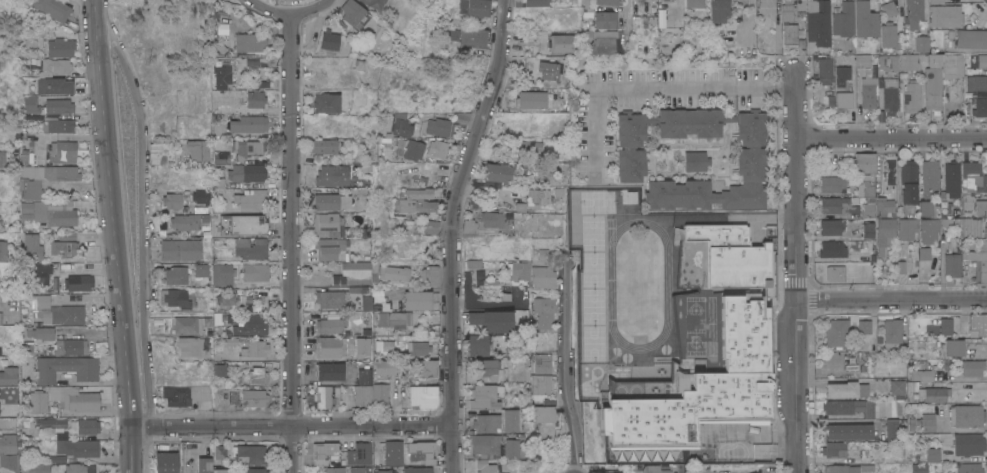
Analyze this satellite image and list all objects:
building: (606, 2)
building: (766, 2)
building: (934, 2)
building: (537, 3)
building: (374, 4)
building: (694, 4)
building: (800, 4)
building: (478, 8)
building: (53, 9)
building: (586, 9)
building: (889, 9)
building: (718, 10)
road: (288, 11)
building: (351, 12)
building: (786, 13)
building: (914, 13)
road: (625, 14)
building: (945, 16)
building: (843, 19)
building: (605, 20)
building: (866, 20)
building: (818, 22)
building: (789, 35)
building: (889, 35)
building: (450, 36)
building: (474, 36)
building: (971, 38)
building: (329, 41)
building: (249, 42)
building: (599, 42)
building: (921, 43)
building: (561, 44)
building: (60, 48)
building: (864, 60)
building: (888, 62)
building: (908, 62)
building: (975, 64)
building: (952, 66)
building: (54, 67)
building: (549, 69)
building: (824, 70)
building: (842, 75)
building: (222, 77)
building: (932, 80)
building: (53, 86)
road: (651, 86)
building: (976, 86)
building: (868, 93)
building: (890, 94)
building: (912, 96)
building: (255, 99)
building: (535, 99)
building: (841, 101)
building: (326, 103)
building: (47, 106)
building: (980, 107)
building: (463, 117)
building: (387, 122)
building: (248, 124)
building: (59, 125)
building: (401, 125)
building: (440, 127)
road: (891, 139)
building: (383, 142)
building: (323, 146)
building: (437, 148)
building: (247, 149)
building: (198, 150)
building: (414, 150)
building: (527, 150)
building: (65, 152)
building: (155, 152)
building: (751, 155)
building: (221, 156)
building: (2, 159)
building: (695, 161)
building: (864, 163)
building: (52, 172)
building: (246, 173)
building: (497, 174)
building: (331, 175)
building: (952, 178)
building: (930, 179)
building: (908, 181)
building: (218, 183)
building: (832, 183)
building: (971, 183)
road: (78, 184)
road: (796, 184)
building: (867, 187)
building: (32, 189)
building: (201, 196)
building: (251, 199)
building: (538, 199)
building: (172, 200)
building: (326, 201)
building: (417, 202)
building: (835, 205)
building: (518, 207)
building: (884, 207)
building: (929, 208)
building: (981, 208)
building: (200, 210)
building: (905, 210)
building: (867, 211)
building: (46, 214)
road: (142, 216)
building: (495, 218)
building: (189, 221)
building: (327, 224)
building: (241, 225)
building: (832, 226)
building: (406, 227)
building: (430, 227)
building: (971, 227)
building: (907, 228)
building: (472, 229)
building: (867, 229)
building: (986, 229)
building: (929, 230)
road: (454, 233)
building: (884, 235)
building: (67, 236)
road: (115, 236)
road: (290, 242)
building: (31, 247)
building: (328, 247)
building: (64, 248)
building: (250, 248)
building: (832, 249)
building: (3, 250)
building: (181, 250)
building: (923, 253)
building: (934, 253)
building: (544, 254)
building: (732, 256)
building: (978, 260)
building: (472, 263)
building: (952, 264)
building: (70, 267)
building: (899, 267)
building: (374, 268)
building: (201, 270)
building: (255, 272)
building: (41, 273)
building: (353, 273)
building: (393, 273)
building: (532, 273)
building: (221, 274)
building: (832, 274)
building: (175, 275)
building: (429, 276)
building: (478, 277)
building: (78, 282)
building: (256, 292)
building: (506, 292)
building: (336, 297)
building: (175, 298)
building: (227, 298)
building: (415, 300)
road: (892, 300)
building: (365, 303)
building: (376, 307)
building: (57, 311)
building: (545, 311)
building: (232, 318)
building: (216, 319)
building: (390, 319)
building: (207, 321)
building: (491, 321)
building: (187, 325)
building: (330, 325)
building: (974, 325)
building: (251, 326)
building: (864, 326)
building: (943, 326)
building: (364, 331)
building: (837, 332)
building: (41, 333)
building: (892, 333)
building: (230, 341)
building: (478, 344)
building: (868, 344)
building: (190, 346)
building: (329, 346)
building: (362, 346)
building: (69, 347)
building: (384, 347)
building: (25, 348)
building: (255, 348)
building: (418, 348)
building: (952, 348)
building: (8, 360)
building: (543, 363)
road: (567, 364)
building: (384, 367)
building: (971, 367)
building: (66, 368)
building: (427, 368)
building: (489, 369)
building: (220, 370)
building: (330, 371)
building: (256, 375)
building: (921, 375)
building: (8, 376)
building: (364, 377)
building: (542, 383)
road: (798, 387)
building: (897, 388)
building: (841, 390)
building: (424, 394)
building: (934, 394)
building: (184, 395)
building: (326, 395)
building: (362, 395)
building: (379, 395)
building: (697, 396)
building: (914, 396)
building: (483, 397)
building: (74, 398)
building: (254, 398)
building: (38, 402)
building: (843, 406)
building: (868, 409)
building: (542, 413)
building: (966, 414)
building: (509, 420)
building: (51, 423)
building: (485, 423)
building: (932, 423)
building: (87, 426)
road: (293, 427)
building: (892, 429)
building: (847, 431)
building: (482, 445)
building: (969, 445)
building: (76, 446)
building: (512, 447)
building: (835, 449)
building: (324, 451)
building: (8, 452)
building: (220, 452)
building: (392, 452)
building: (419, 452)
building: (250, 454)
building: (359, 454)
building: (932, 454)
building: (375, 458)
building: (56, 459)
building: (165, 462)
building: (203, 465)
building: (485, 465)
building: (35, 468)
building: (73, 468)
building: (847, 468)
building: (919, 468)
building: (968, 468)
building: (344, 469)
building: (417, 469)
building: (653, 469)
building: (255, 470)
building: (379, 470)
building: (502, 470)
building: (219, 471)
building: (612, 471)

